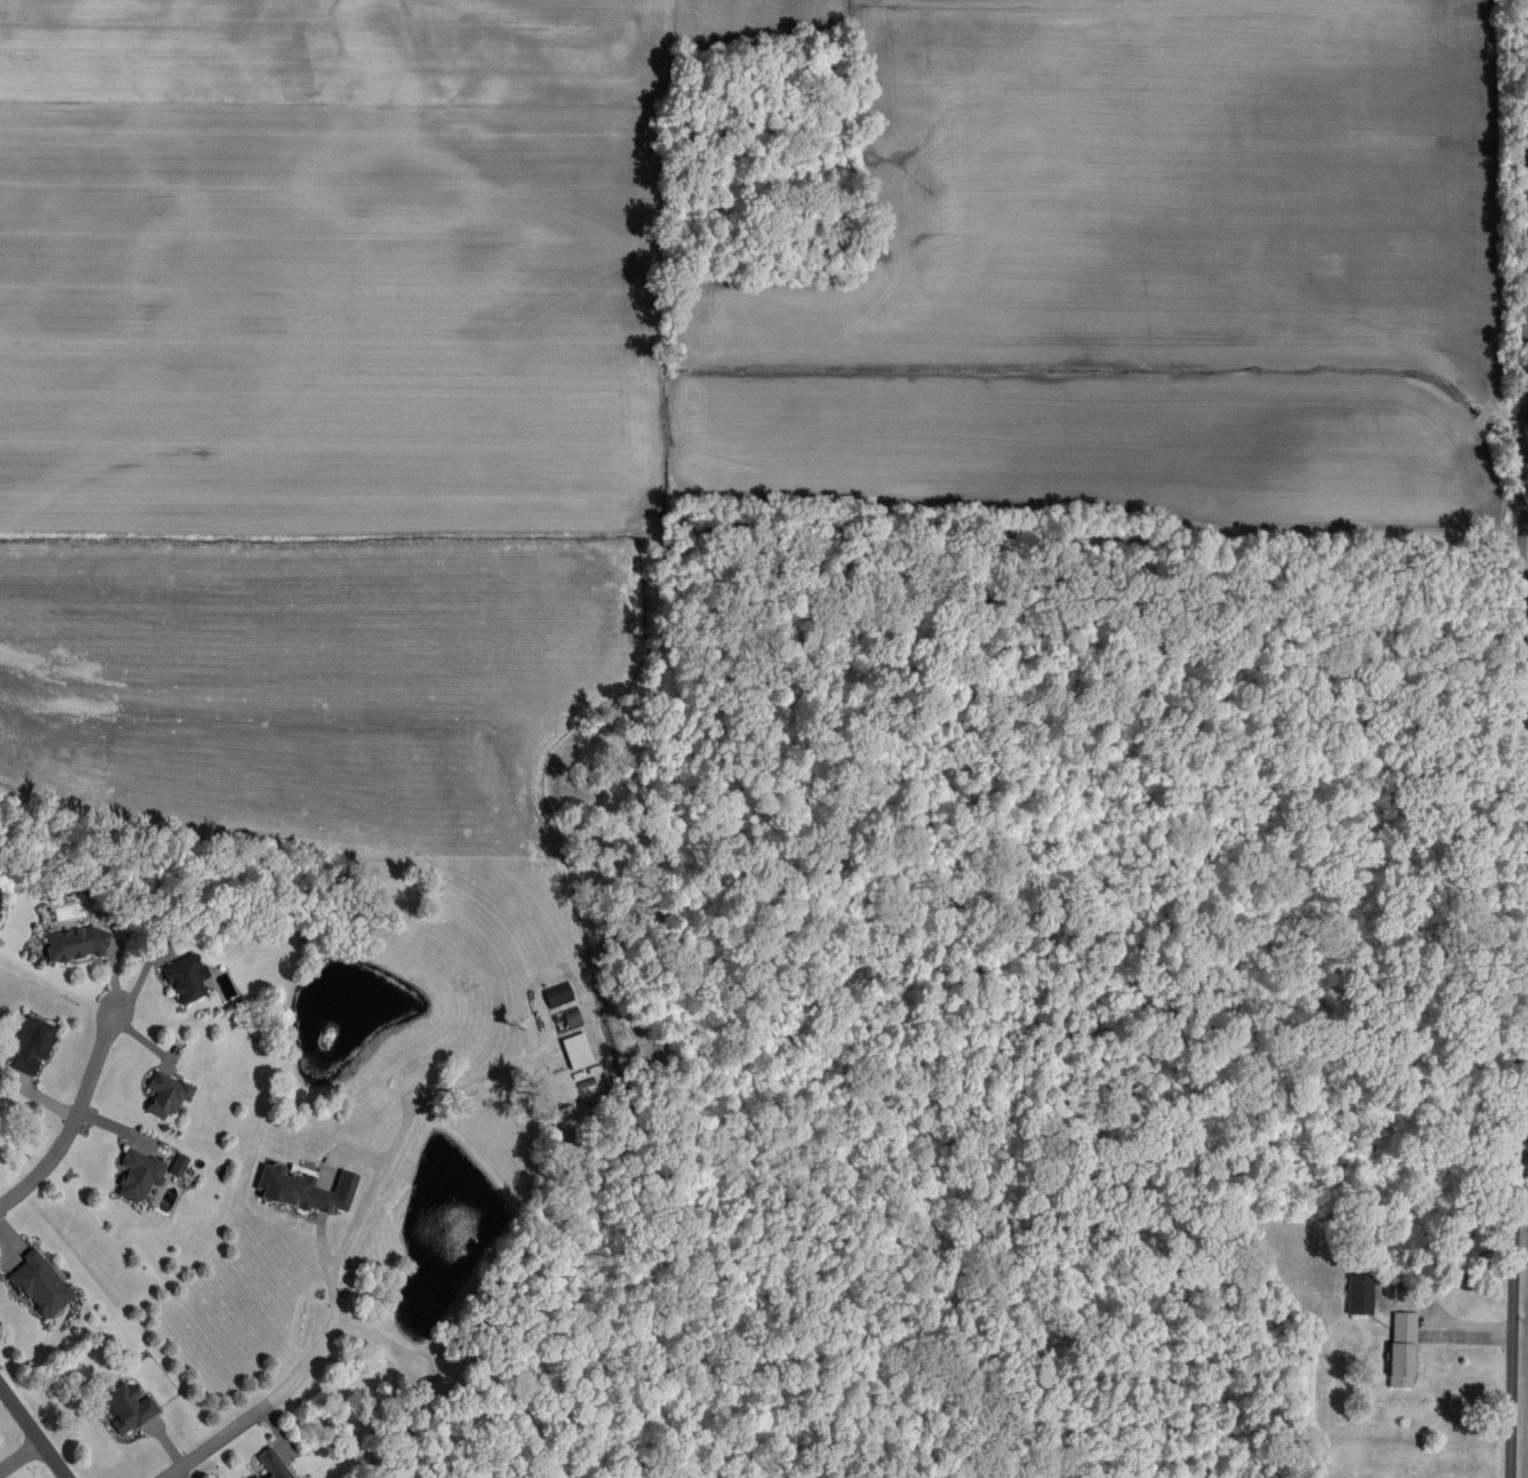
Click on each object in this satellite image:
crop: (337, 49)
crop: (1131, 188)
crop: (332, 316)
road: (1526, 401)
crop: (1089, 445)
road: (1525, 543)
crop: (335, 704)
road: (1520, 819)
building: (76, 944)
building: (185, 979)
building: (31, 1047)
building: (577, 1050)
building: (167, 1094)
road: (75, 1119)
road: (393, 1147)
building: (179, 1165)
building: (139, 1175)
building: (303, 1190)
road: (1521, 1206)
building: (40, 1285)
building: (1360, 1295)
building: (1401, 1350)
road: (297, 1375)
building: (128, 1407)
road: (33, 1432)
road: (20, 1456)
building: (272, 1465)

